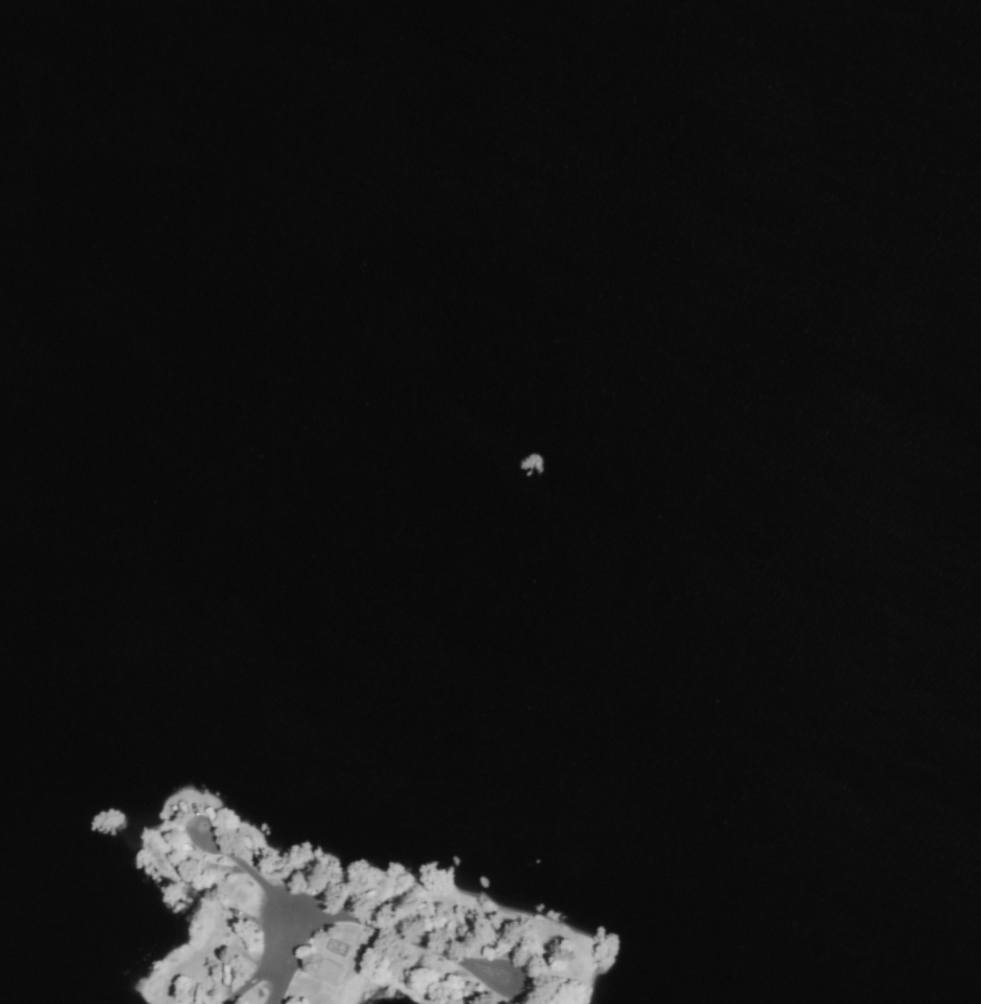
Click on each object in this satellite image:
road: (454, 956)
road: (285, 960)
building: (328, 971)

